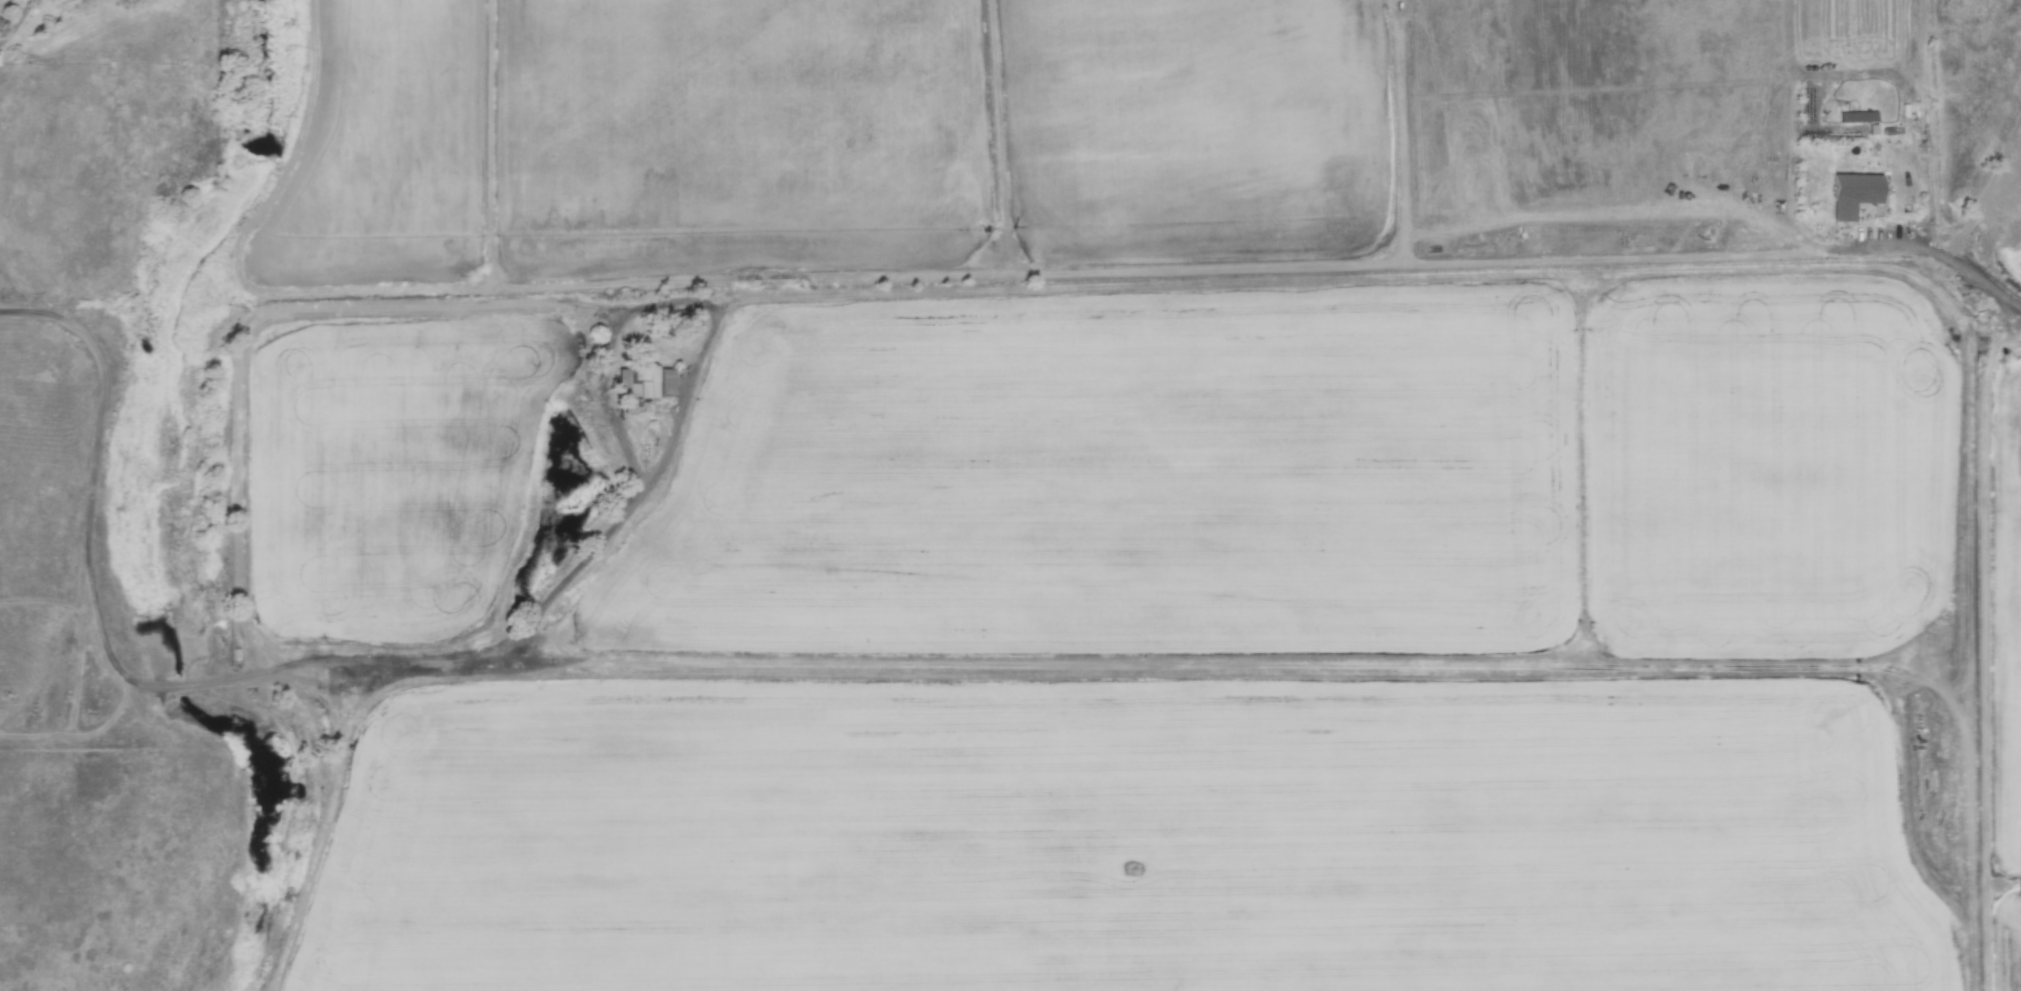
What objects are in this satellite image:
road: (15, 19)
road: (127, 60)
building: (1854, 195)
road: (1949, 257)
building: (655, 384)

